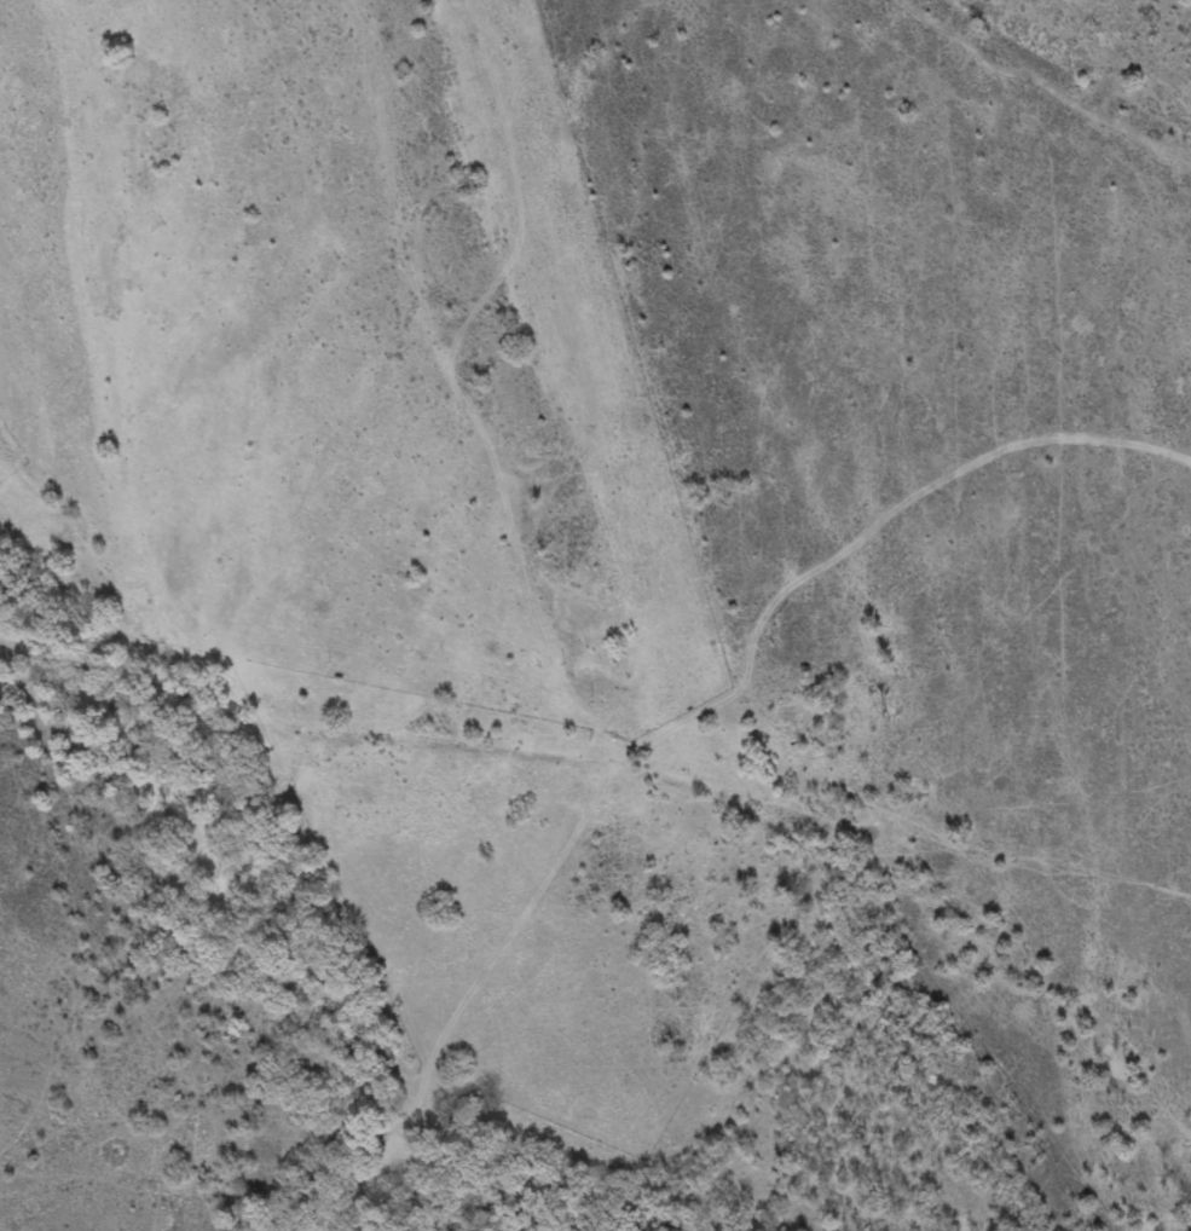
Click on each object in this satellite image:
road: (418, 1131)

